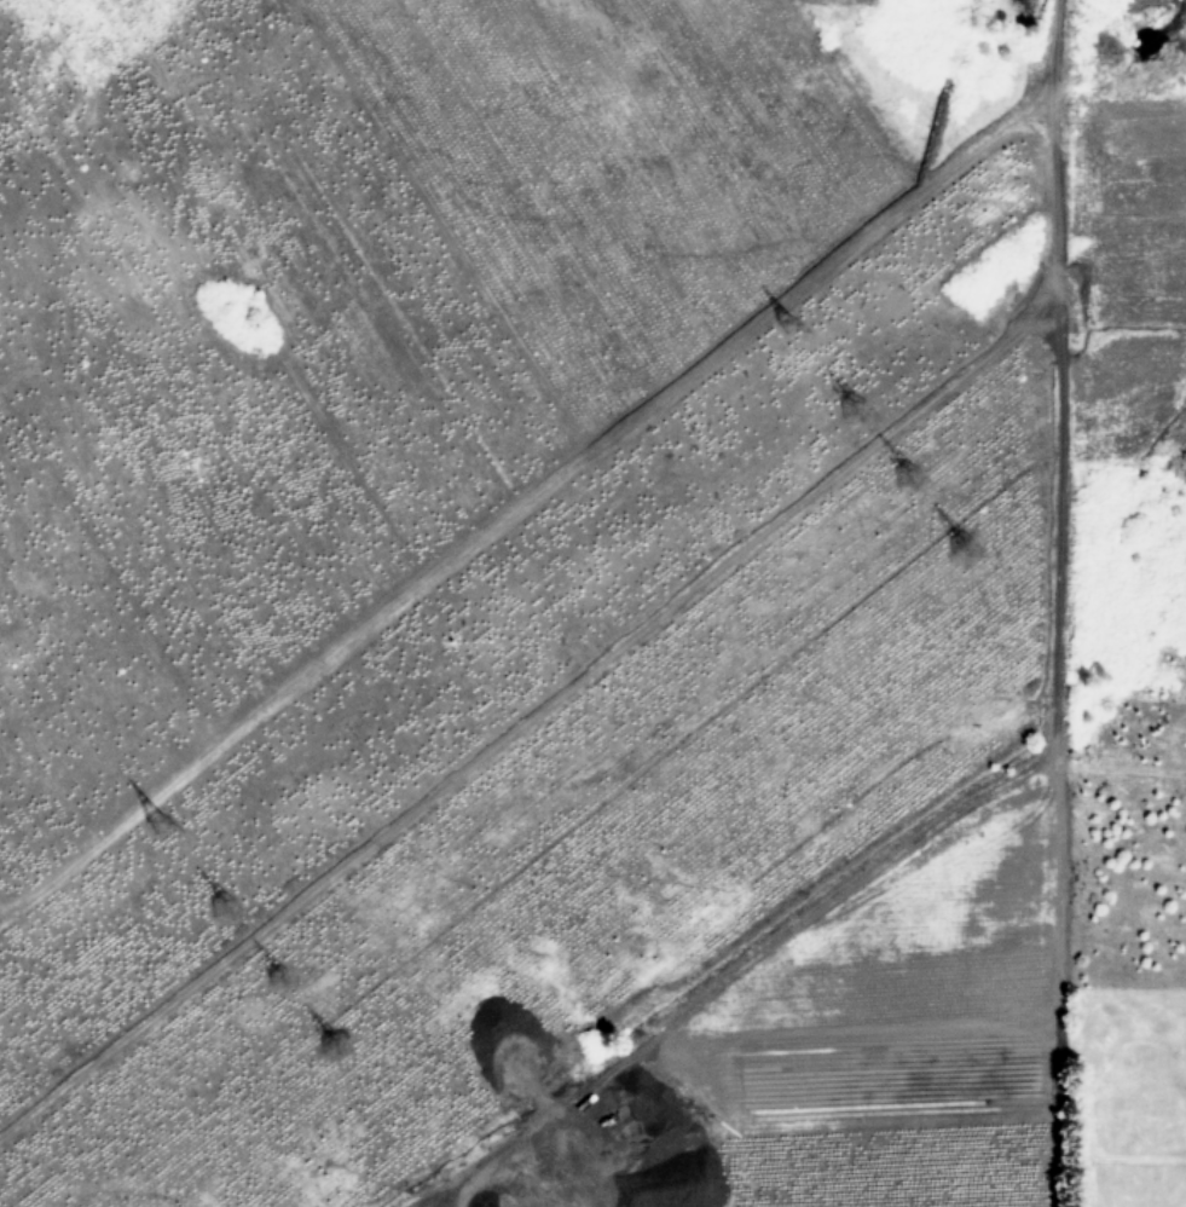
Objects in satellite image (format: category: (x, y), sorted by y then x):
power tower: (789, 316)
power tower: (854, 403)
power tower: (913, 474)
power tower: (966, 541)
crop: (592, 603)
road: (1049, 700)
road: (532, 720)
power tower: (160, 813)
power tower: (226, 899)
power tower: (282, 969)
power tower: (332, 1040)

